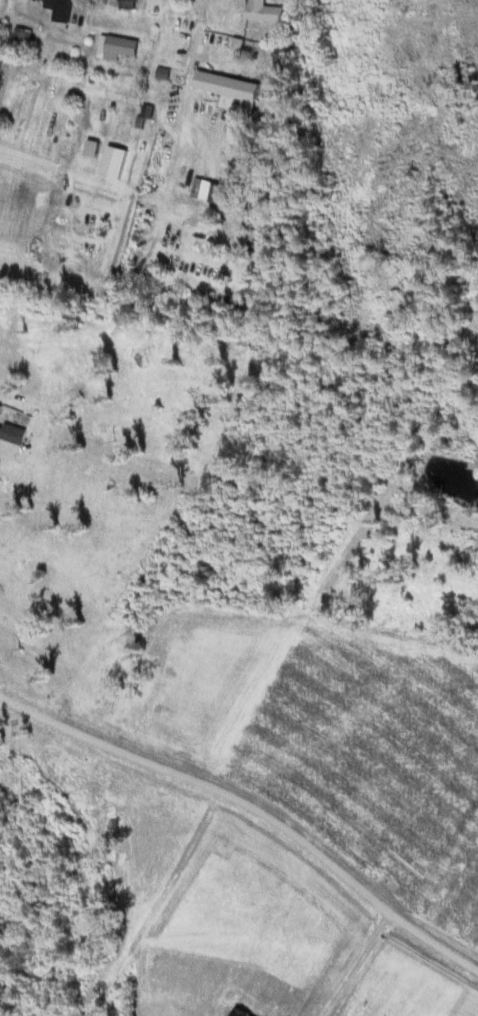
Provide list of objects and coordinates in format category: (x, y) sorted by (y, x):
building: (132, 4)
building: (64, 9)
building: (267, 10)
building: (119, 46)
building: (230, 84)
building: (212, 190)
road: (431, 363)

